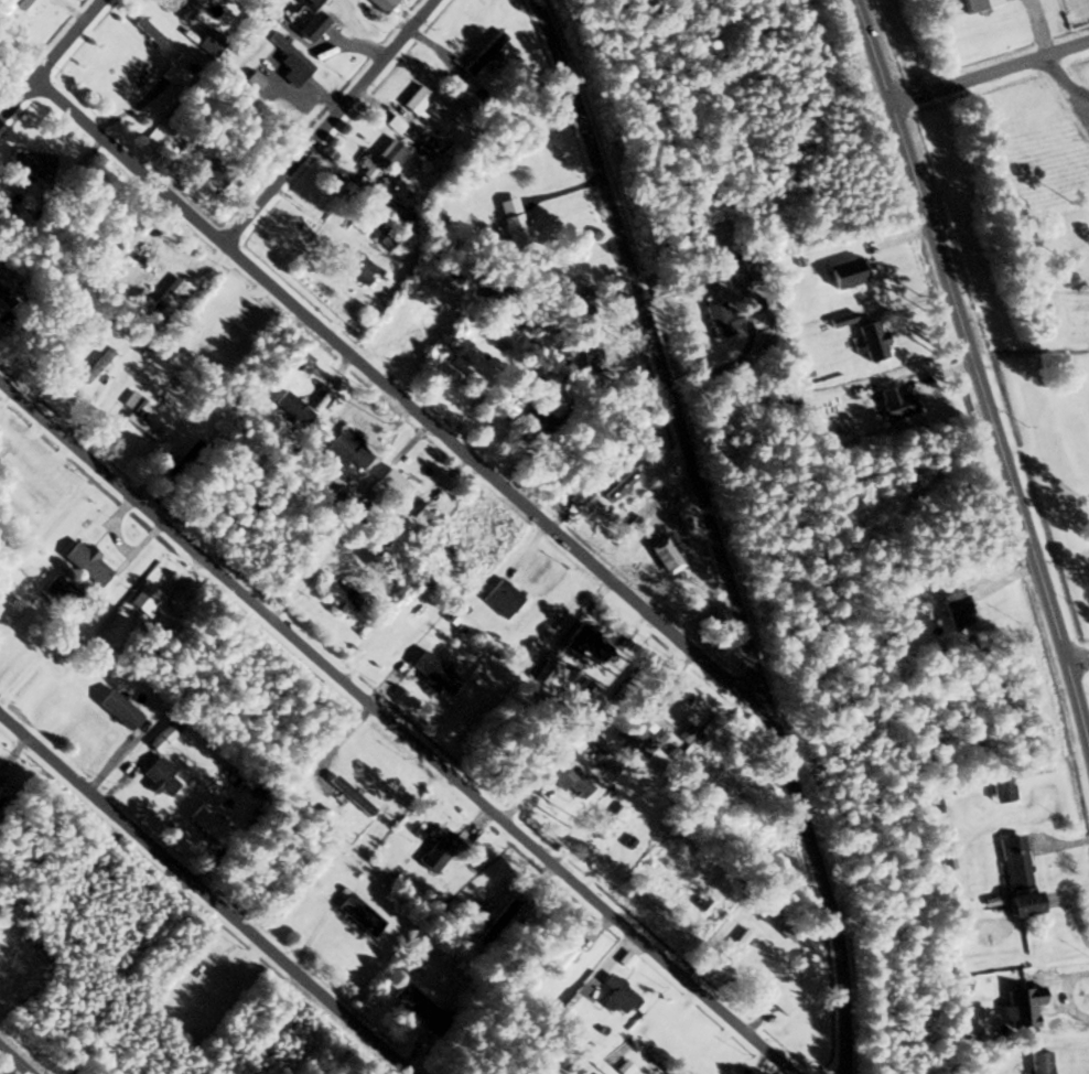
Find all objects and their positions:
building: (217, 0)
building: (380, 4)
building: (972, 4)
building: (10, 6)
building: (332, 9)
building: (192, 10)
building: (310, 26)
building: (148, 30)
building: (289, 52)
road: (47, 56)
building: (166, 73)
road: (991, 73)
building: (464, 74)
building: (254, 80)
road: (1064, 80)
building: (416, 99)
road: (1083, 107)
road: (333, 123)
building: (393, 123)
building: (380, 159)
building: (30, 163)
road: (128, 163)
building: (212, 174)
building: (511, 222)
building: (380, 233)
building: (352, 265)
building: (737, 266)
building: (844, 272)
building: (170, 293)
road: (913, 303)
building: (718, 319)
building: (870, 341)
building: (591, 356)
building: (57, 363)
building: (94, 365)
road: (940, 375)
road: (977, 379)
building: (132, 401)
building: (892, 405)
building: (292, 407)
building: (539, 418)
building: (346, 449)
road: (492, 482)
building: (392, 484)
building: (618, 484)
building: (585, 485)
road: (710, 530)
building: (384, 533)
building: (85, 563)
building: (63, 590)
building: (502, 598)
building: (145, 599)
building: (952, 601)
building: (894, 649)
road: (1076, 658)
building: (431, 673)
building: (117, 708)
road: (393, 735)
building: (638, 735)
building: (161, 737)
building: (160, 776)
building: (570, 780)
building: (1000, 787)
building: (344, 792)
building: (727, 792)
building: (206, 820)
building: (607, 820)
building: (435, 835)
building: (1016, 873)
road: (205, 896)
building: (358, 914)
building: (496, 921)
building: (787, 933)
building: (734, 946)
building: (625, 959)
building: (560, 960)
building: (617, 996)
building: (774, 1001)
building: (1022, 1005)
building: (418, 1007)
building: (568, 1011)
road: (14, 1061)
building: (1039, 1062)

